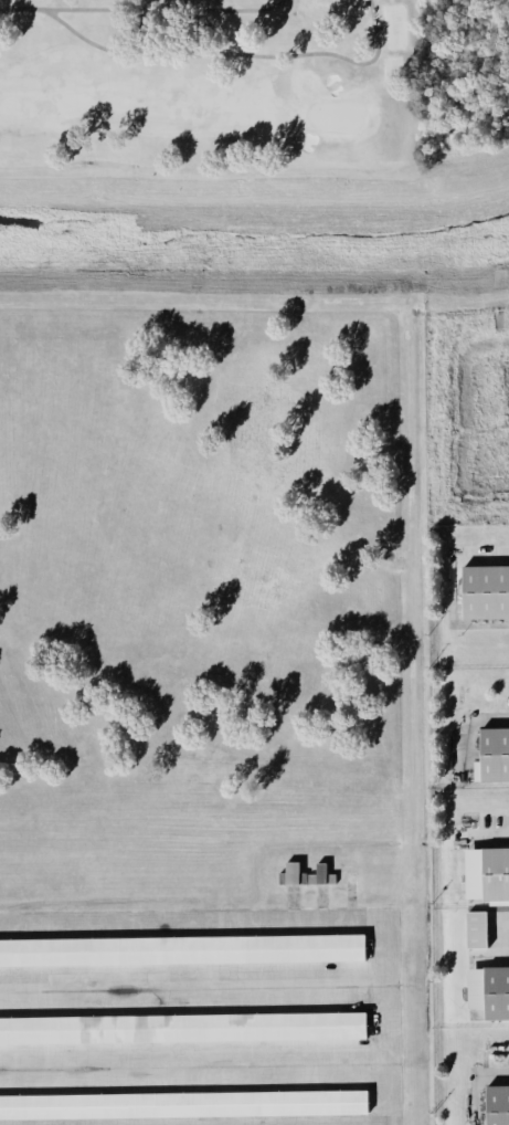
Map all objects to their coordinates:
park: (205, 87)
park: (210, 88)
building: (485, 590)
airport: (213, 722)
road: (468, 722)
building: (495, 754)
building: (291, 872)
building: (320, 872)
building: (496, 872)
building: (475, 927)
building: (181, 948)
building: (497, 992)
airport apron: (201, 1018)
road: (385, 1019)
building: (182, 1026)
building: (57, 1056)
road: (495, 1072)
building: (184, 1103)
building: (497, 1104)

